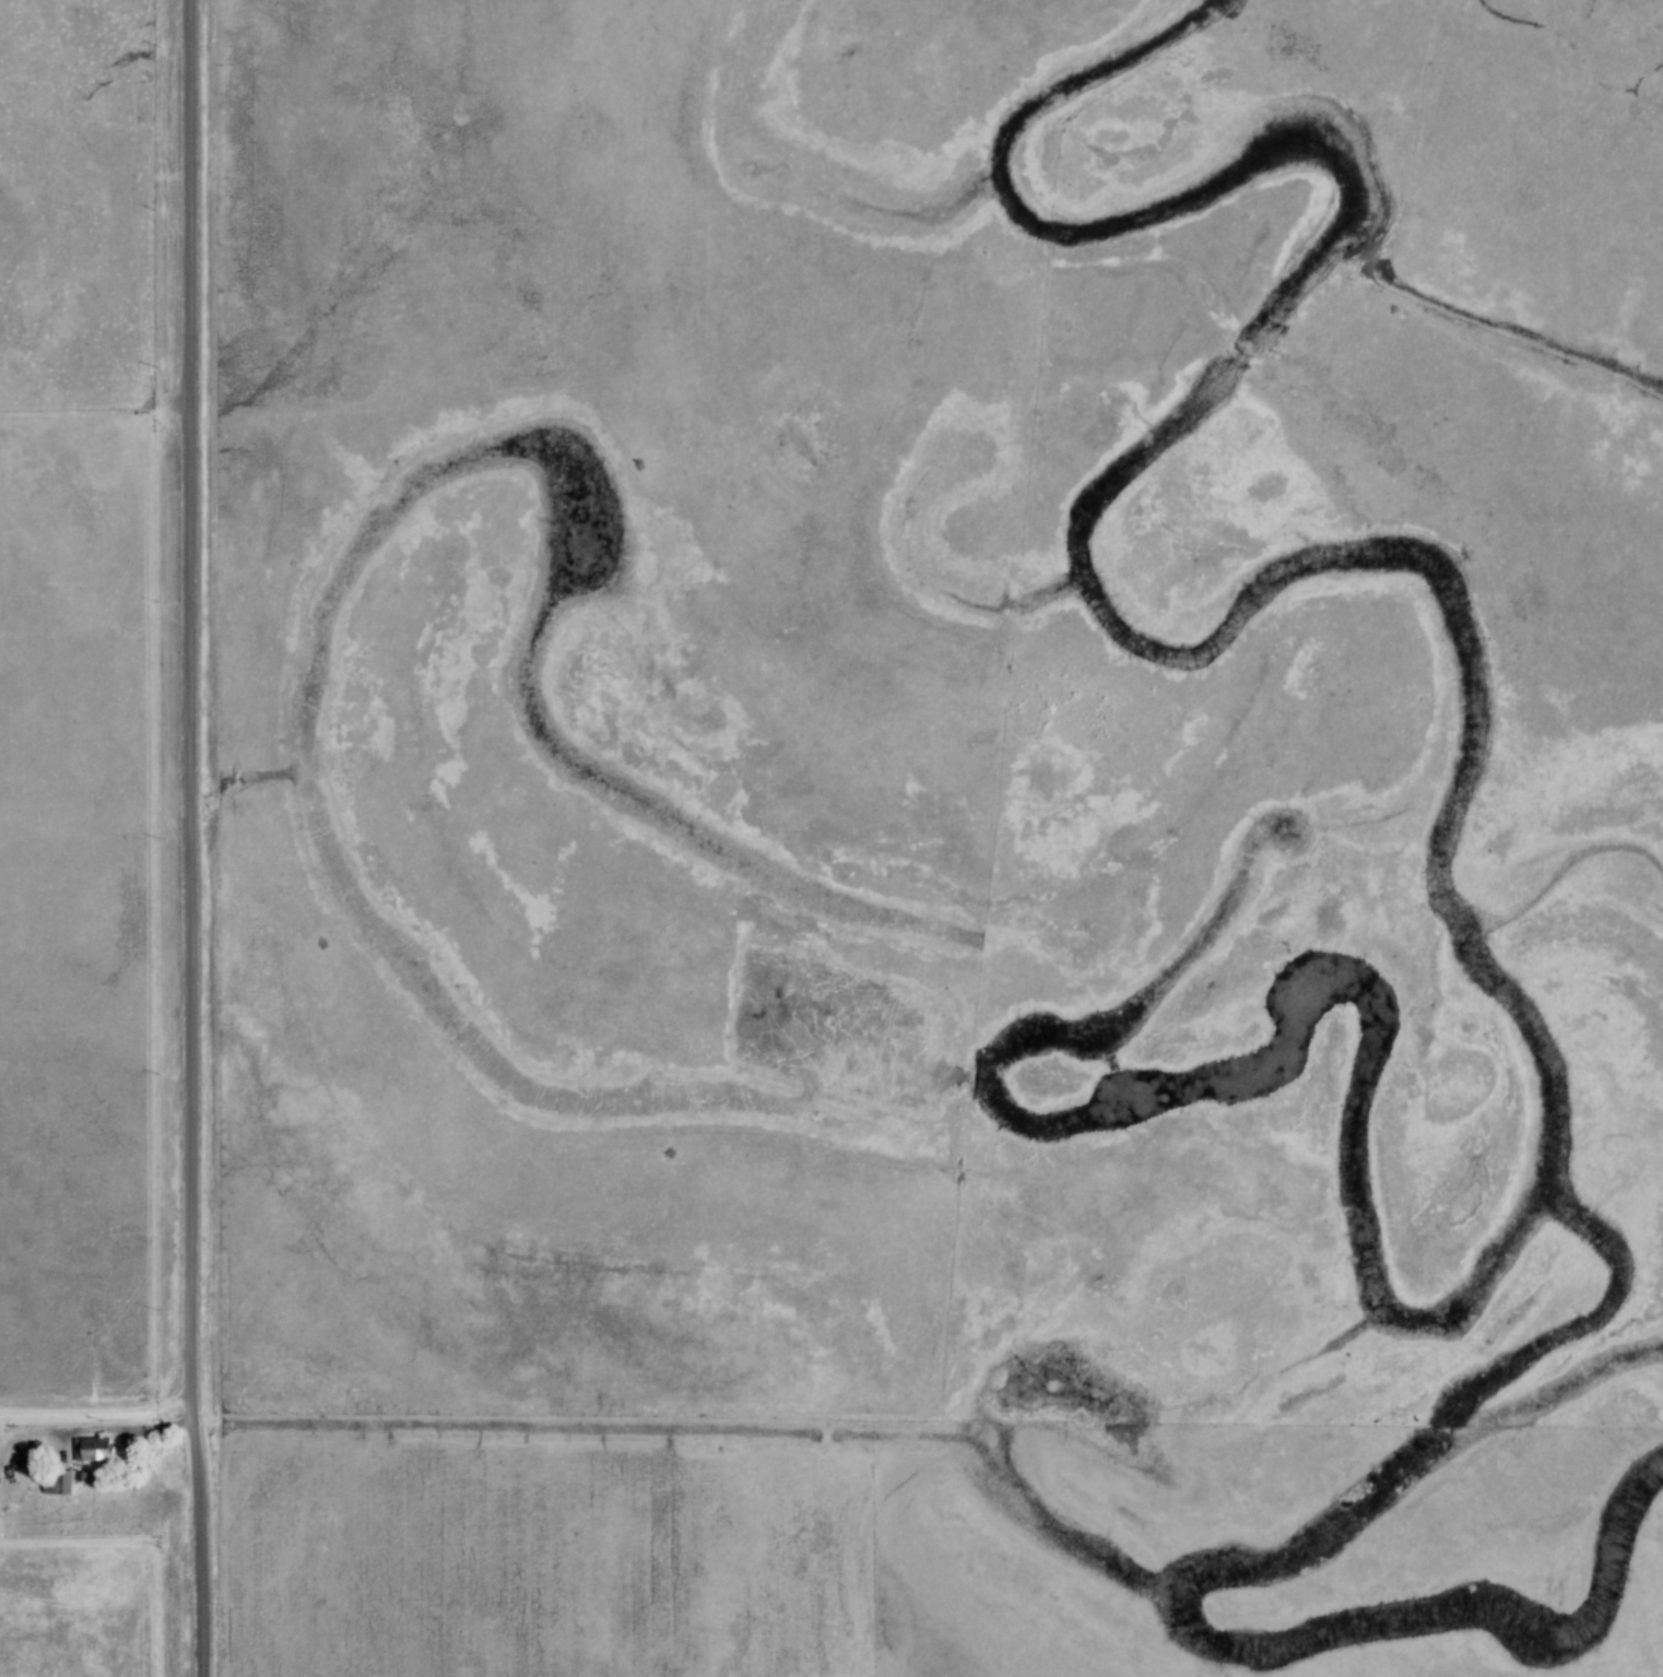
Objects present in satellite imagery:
road: (164, 418)
road: (199, 838)
crop: (73, 911)
road: (106, 1408)
road: (97, 1428)
building: (97, 1449)
building: (62, 1481)
crop: (552, 1556)
crop: (80, 1607)

